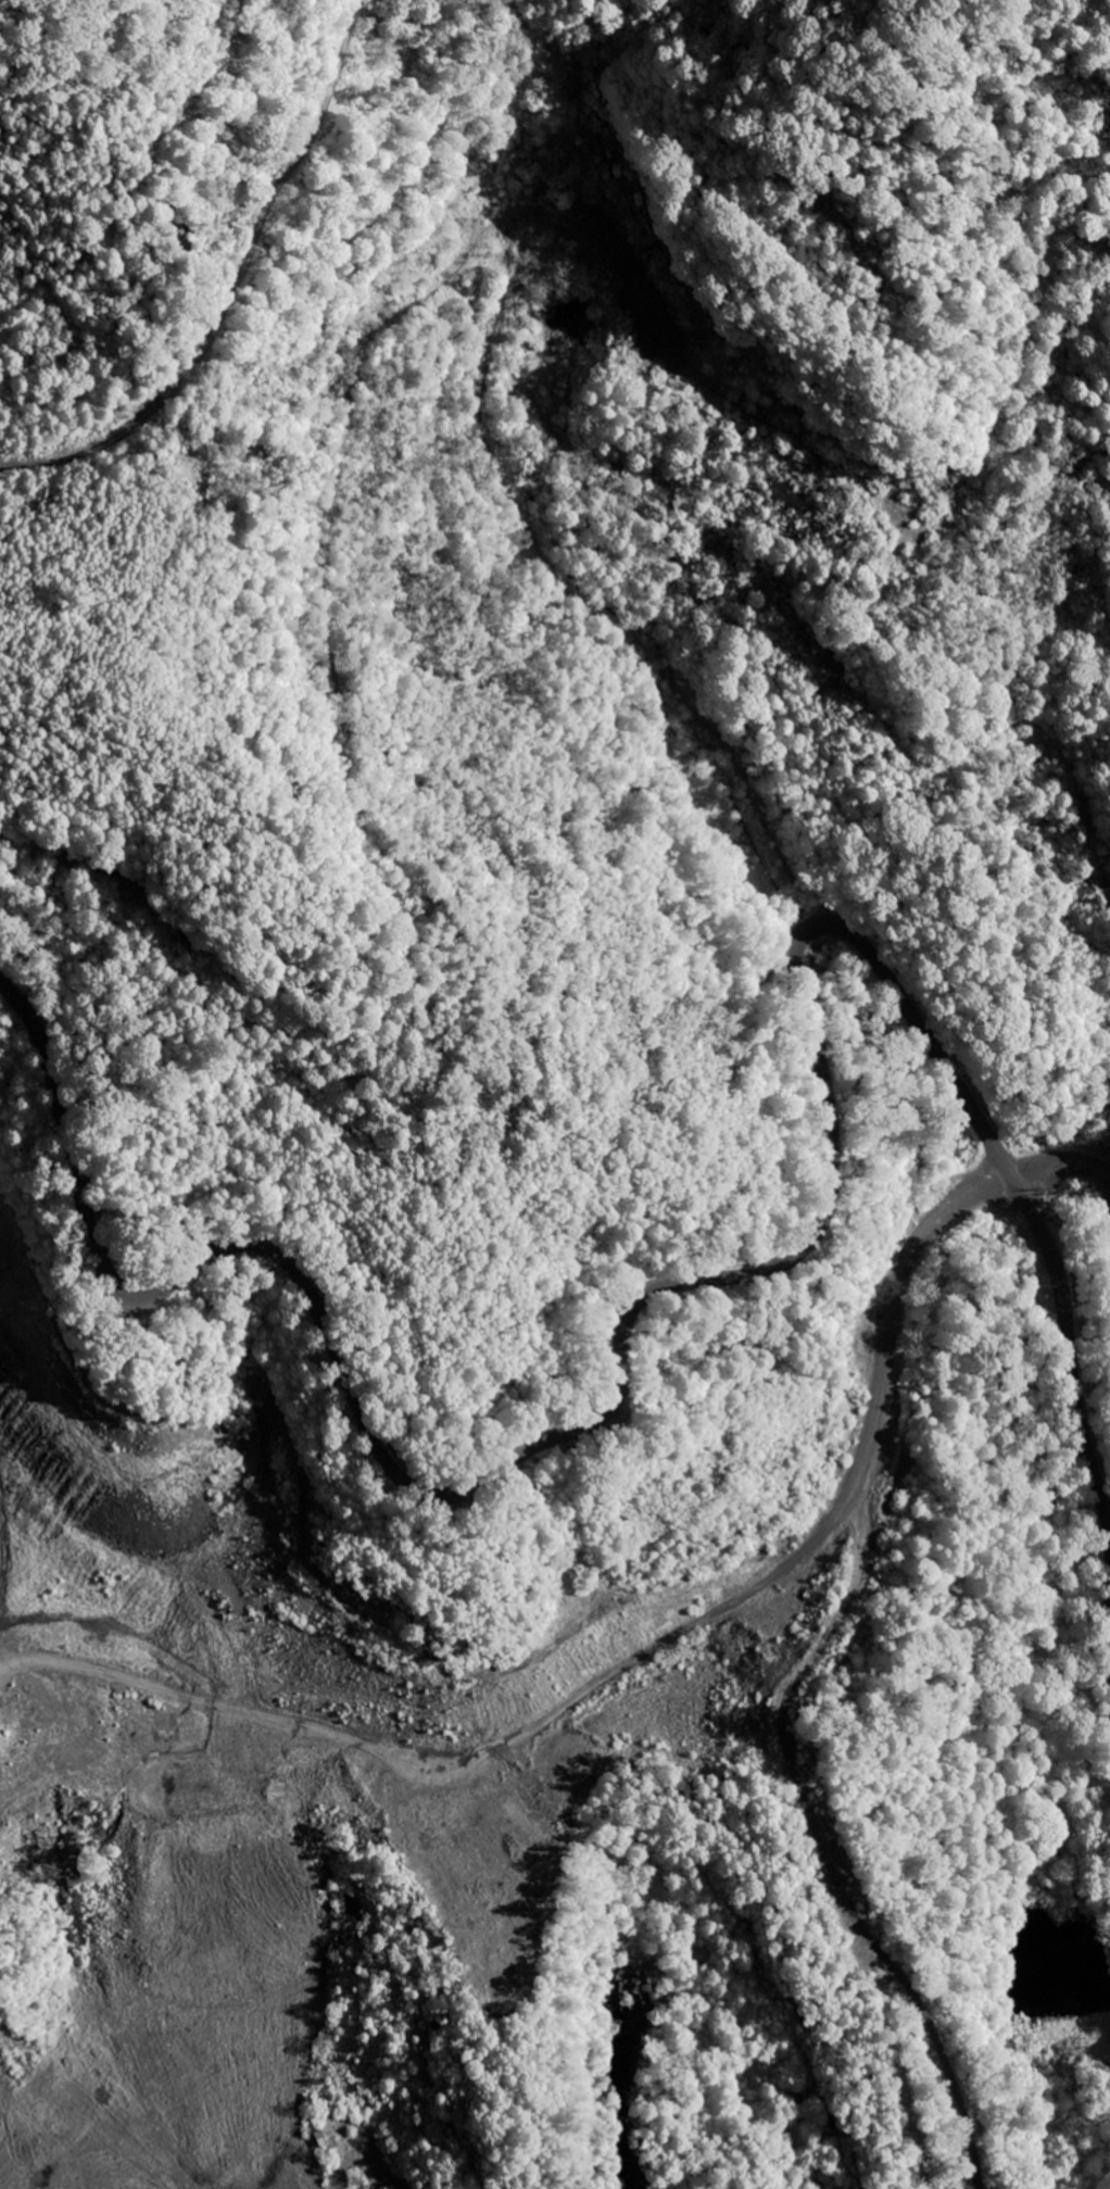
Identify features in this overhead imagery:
road: (833, 466)
road: (822, 539)
road: (780, 601)
road: (639, 644)
road: (674, 1284)
road: (247, 1357)
road: (668, 1653)
building: (302, 2009)
building: (237, 2049)
building: (304, 2169)

